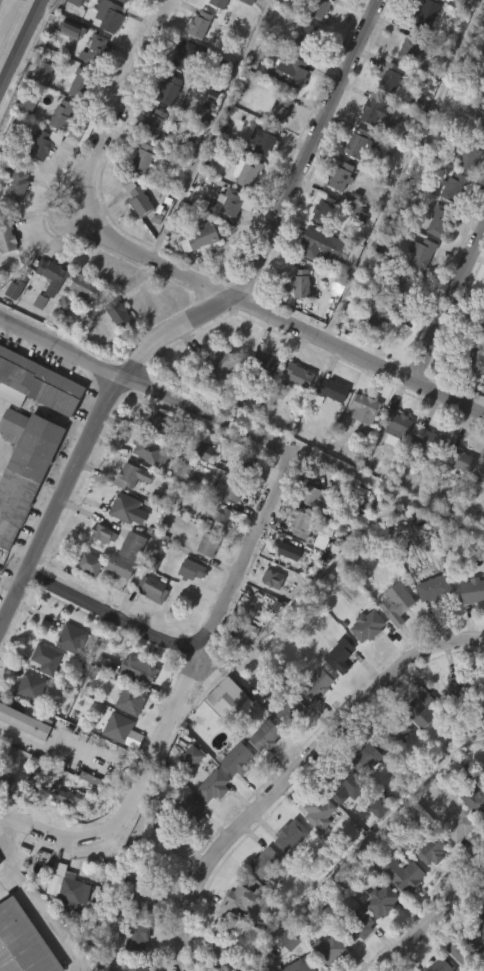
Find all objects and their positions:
building: (129, 0)
building: (136, 0)
building: (217, 3)
building: (232, 5)
building: (321, 8)
building: (428, 12)
building: (109, 15)
building: (120, 17)
building: (201, 24)
building: (217, 28)
building: (73, 30)
building: (243, 30)
building: (311, 39)
road: (21, 46)
building: (419, 46)
building: (96, 51)
building: (187, 56)
building: (67, 64)
building: (298, 74)
building: (392, 75)
building: (78, 83)
building: (405, 83)
building: (89, 85)
building: (169, 91)
building: (483, 92)
building: (182, 93)
road: (124, 103)
building: (283, 108)
building: (36, 110)
building: (379, 112)
building: (59, 116)
building: (76, 118)
building: (479, 121)
building: (159, 124)
building: (23, 138)
building: (268, 140)
building: (43, 143)
building: (366, 143)
building: (57, 150)
building: (471, 153)
building: (151, 158)
building: (142, 160)
building: (246, 172)
building: (342, 174)
building: (353, 177)
building: (260, 178)
building: (39, 179)
building: (20, 183)
building: (456, 186)
building: (136, 196)
building: (227, 204)
building: (325, 206)
building: (242, 207)
building: (336, 210)
road: (279, 213)
building: (442, 219)
building: (14, 220)
building: (133, 232)
building: (6, 238)
building: (201, 238)
building: (223, 239)
building: (327, 246)
building: (424, 252)
building: (433, 258)
building: (53, 274)
building: (194, 274)
building: (302, 283)
building: (406, 284)
building: (84, 288)
building: (416, 288)
road: (449, 305)
building: (47, 310)
building: (120, 313)
building: (375, 317)
building: (296, 318)
building: (400, 318)
road: (282, 320)
building: (80, 321)
building: (10, 323)
building: (483, 326)
building: (35, 337)
building: (60, 339)
building: (114, 348)
building: (371, 351)
building: (478, 360)
building: (265, 363)
building: (223, 364)
building: (300, 375)
road: (145, 388)
building: (337, 390)
building: (473, 396)
building: (261, 399)
building: (216, 400)
building: (367, 404)
building: (293, 410)
building: (35, 419)
building: (400, 423)
building: (327, 424)
building: (159, 425)
building: (431, 443)
building: (359, 445)
building: (150, 450)
building: (391, 459)
building: (463, 460)
building: (246, 461)
building: (25, 468)
building: (482, 475)
building: (133, 476)
building: (420, 478)
building: (146, 486)
building: (199, 486)
road: (385, 486)
building: (231, 489)
building: (457, 495)
building: (324, 502)
road: (59, 504)
building: (126, 506)
building: (479, 507)
building: (225, 522)
building: (302, 522)
building: (119, 543)
building: (210, 544)
building: (134, 545)
building: (294, 552)
building: (91, 563)
building: (123, 566)
building: (193, 569)
building: (316, 576)
building: (275, 578)
building: (203, 579)
building: (128, 580)
building: (284, 585)
building: (434, 586)
building: (155, 588)
building: (474, 590)
building: (85, 598)
building: (116, 601)
building: (398, 603)
building: (188, 604)
building: (268, 613)
road: (118, 619)
road: (216, 619)
building: (148, 623)
building: (429, 623)
building: (470, 625)
building: (247, 631)
building: (73, 638)
building: (392, 638)
building: (341, 655)
building: (47, 658)
building: (362, 660)
building: (241, 667)
building: (135, 669)
building: (67, 673)
building: (320, 683)
building: (32, 687)
building: (464, 687)
building: (336, 690)
building: (41, 693)
building: (102, 698)
building: (231, 698)
building: (132, 700)
building: (293, 711)
building: (424, 711)
building: (313, 718)
building: (451, 719)
building: (23, 721)
building: (119, 727)
road: (57, 730)
building: (221, 732)
building: (393, 732)
building: (268, 735)
building: (286, 745)
building: (418, 745)
building: (194, 756)
building: (22, 757)
building: (369, 758)
building: (241, 760)
building: (113, 761)
building: (389, 768)
building: (261, 770)
road: (296, 772)
building: (6, 775)
building: (215, 786)
building: (348, 787)
building: (187, 791)
building: (232, 793)
building: (360, 794)
building: (65, 797)
building: (475, 801)
building: (3, 810)
building: (191, 811)
building: (208, 820)
building: (339, 824)
building: (463, 826)
building: (63, 831)
building: (293, 835)
building: (473, 835)
building: (374, 842)
building: (186, 844)
building: (314, 845)
road: (85, 846)
building: (160, 850)
building: (437, 850)
building: (455, 860)
building: (266, 862)
building: (0, 865)
building: (127, 869)
building: (285, 870)
building: (409, 876)
building: (154, 883)
building: (426, 884)
building: (69, 886)
building: (145, 895)
road: (29, 898)
building: (382, 900)
building: (246, 902)
building: (399, 909)
road: (433, 918)
building: (62, 921)
building: (481, 923)
building: (356, 925)
building: (136, 932)
building: (239, 935)
building: (375, 935)
building: (23, 942)
building: (331, 950)
building: (222, 951)
building: (467, 951)
building: (354, 958)
building: (138, 965)
building: (302, 965)
building: (444, 965)
building: (284, 968)
building: (327, 969)
building: (466, 969)

